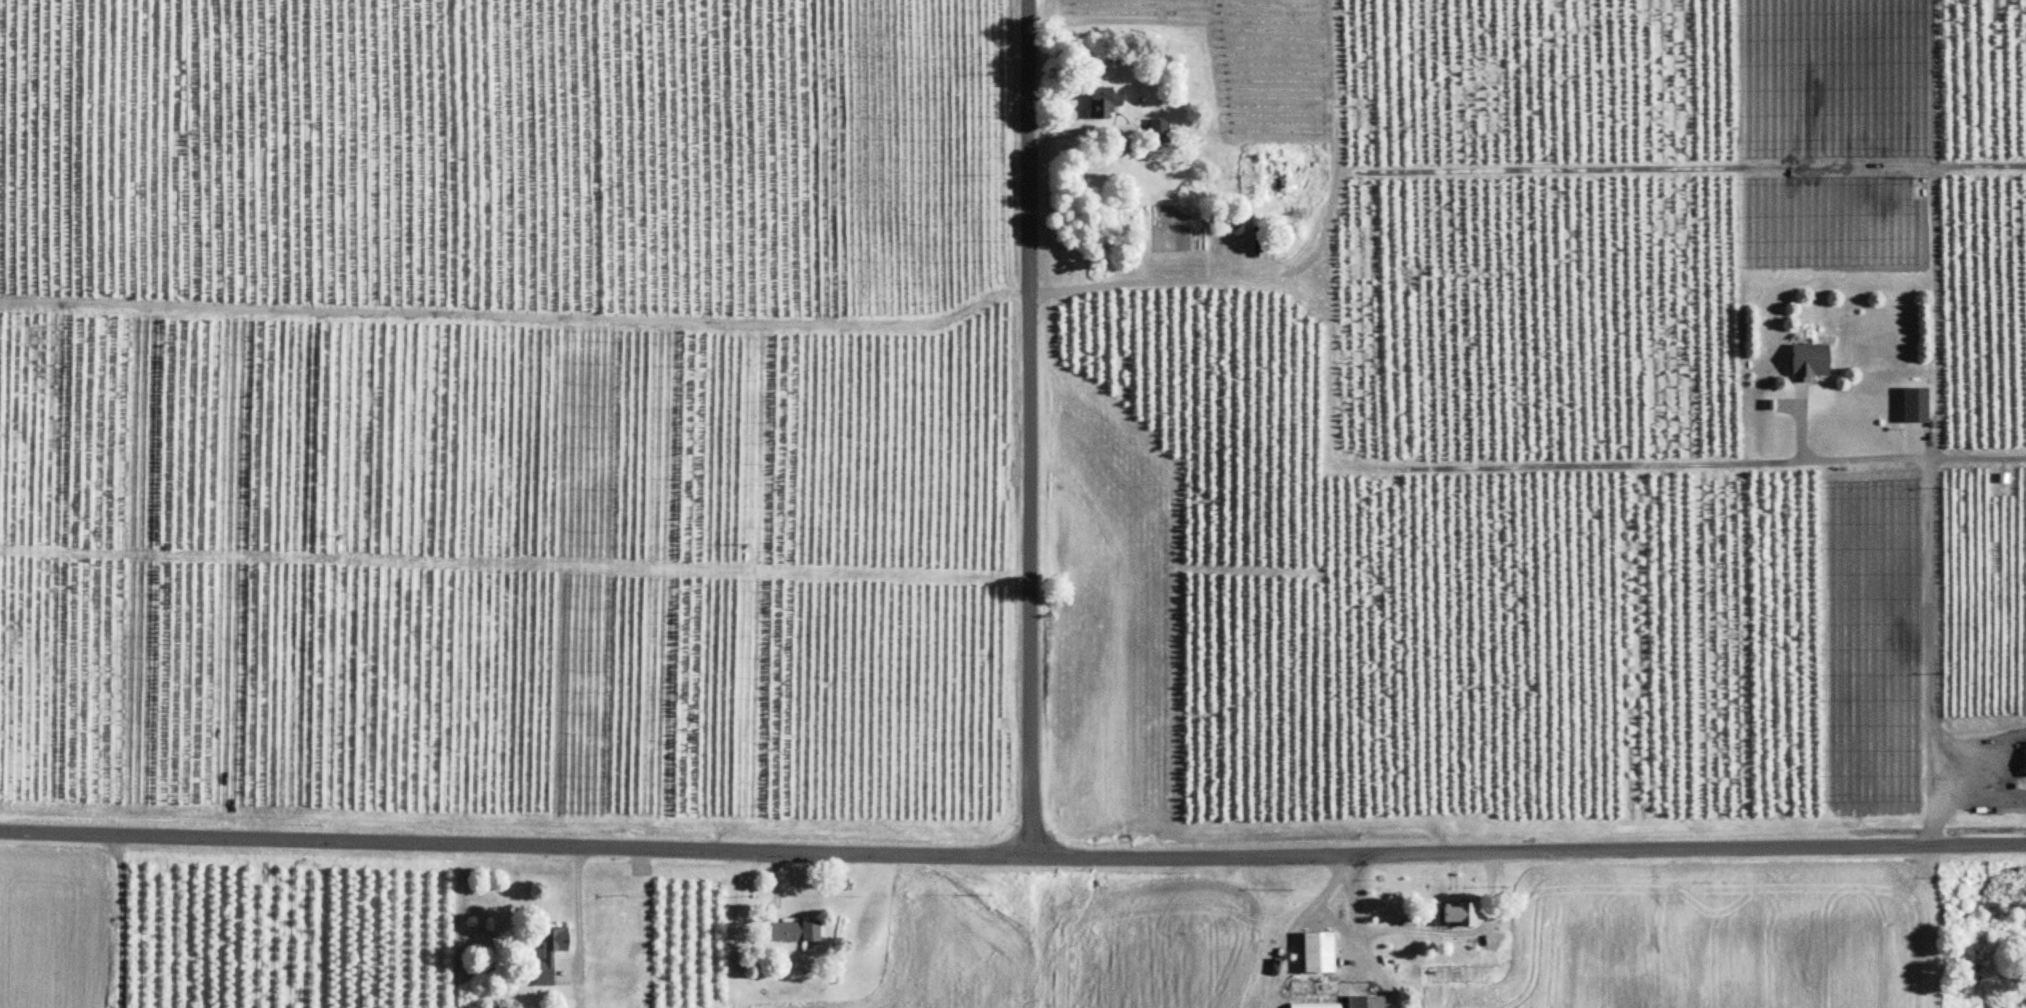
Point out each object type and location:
building: (1105, 102)
building: (1160, 131)
road: (518, 315)
building: (1804, 362)
building: (1910, 405)
road: (1028, 429)
road: (1929, 592)
building: (2024, 760)
road: (1012, 859)
road: (578, 907)
building: (1462, 913)
crop: (51, 927)
road: (1419, 928)
building: (797, 930)
building: (1491, 941)
building: (552, 955)
road: (1364, 968)
building: (1315, 988)
building: (1367, 1002)
road: (1268, 1004)

